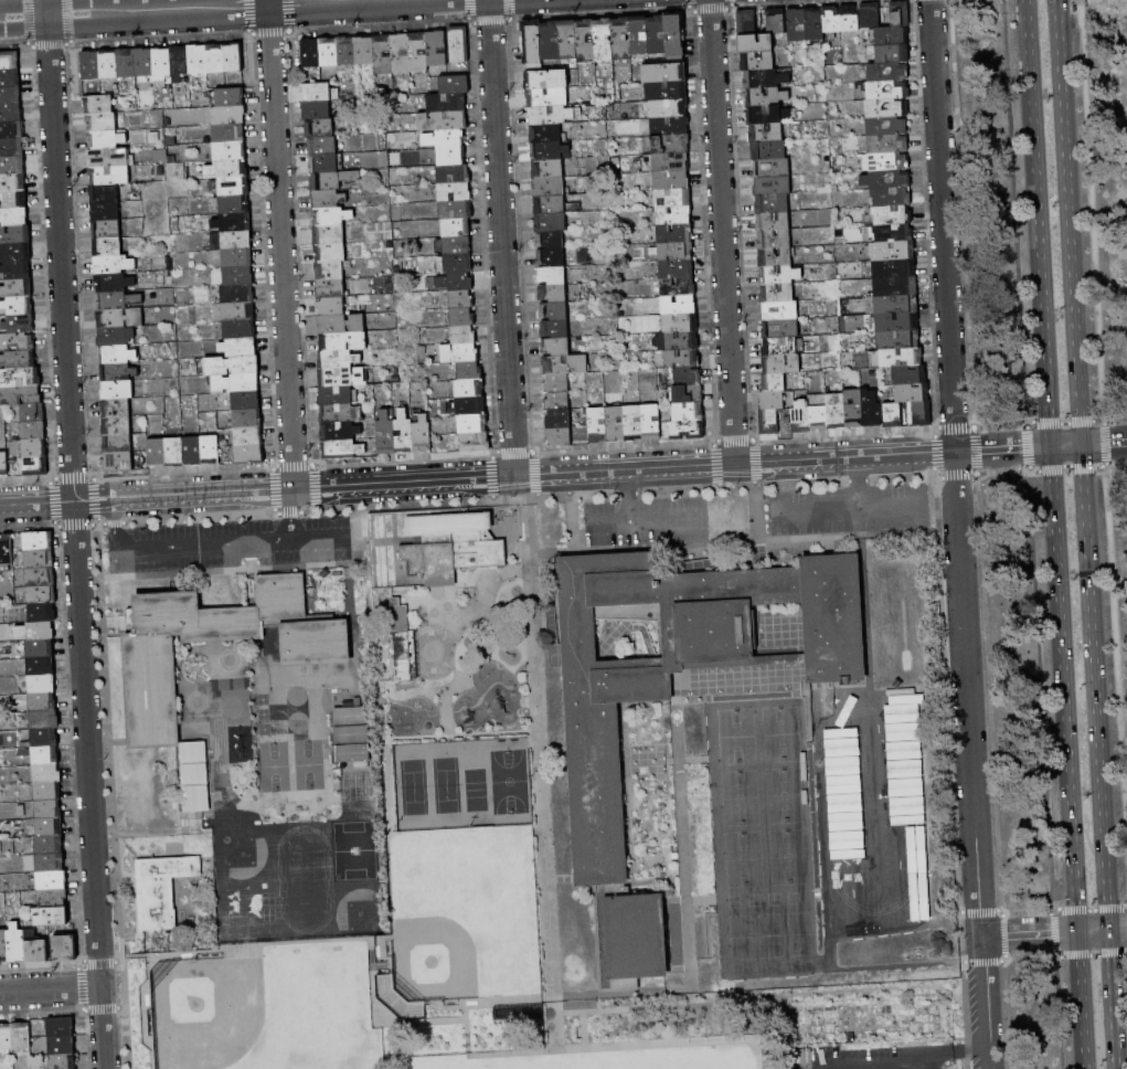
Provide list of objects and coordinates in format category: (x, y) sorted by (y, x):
road: (45, 8)
road: (190, 8)
building: (900, 13)
building: (871, 15)
road: (23, 17)
building: (849, 19)
building: (831, 20)
building: (777, 21)
building: (747, 23)
building: (815, 23)
building: (796, 25)
building: (674, 34)
building: (638, 35)
building: (657, 35)
building: (892, 35)
building: (567, 40)
building: (604, 40)
building: (621, 40)
building: (550, 41)
building: (585, 41)
building: (532, 43)
building: (755, 43)
building: (459, 45)
building: (437, 49)
building: (365, 50)
building: (347, 51)
building: (329, 52)
building: (419, 52)
building: (311, 53)
building: (383, 54)
building: (401, 54)
building: (892, 54)
building: (234, 57)
building: (215, 59)
building: (198, 60)
building: (9, 61)
building: (757, 62)
building: (143, 63)
building: (179, 63)
building: (108, 64)
building: (126, 64)
building: (91, 65)
building: (161, 65)
building: (887, 72)
building: (664, 73)
building: (10, 78)
building: (546, 80)
building: (765, 80)
building: (454, 85)
building: (887, 91)
building: (667, 92)
building: (316, 93)
building: (10, 95)
building: (230, 97)
building: (546, 97)
building: (766, 97)
building: (447, 103)
building: (98, 104)
building: (669, 108)
building: (886, 108)
building: (316, 110)
building: (10, 113)
building: (767, 114)
building: (228, 115)
building: (551, 115)
building: (102, 121)
building: (442, 121)
building: (669, 126)
building: (885, 127)
building: (319, 128)
building: (11, 130)
building: (765, 133)
building: (228, 134)
building: (545, 134)
building: (445, 138)
building: (107, 139)
building: (670, 144)
building: (887, 145)
building: (322, 146)
building: (11, 148)
building: (768, 150)
building: (230, 151)
building: (549, 151)
building: (451, 156)
building: (110, 158)
building: (670, 162)
building: (886, 162)
building: (323, 163)
building: (12, 165)
building: (772, 168)
building: (227, 169)
building: (549, 170)
building: (454, 174)
building: (109, 176)
building: (332, 180)
building: (885, 180)
building: (671, 181)
building: (13, 182)
building: (234, 187)
building: (773, 187)
building: (549, 188)
building: (455, 192)
building: (104, 193)
building: (891, 197)
building: (328, 199)
building: (672, 199)
building: (13, 200)
building: (232, 204)
building: (550, 204)
building: (772, 204)
building: (456, 210)
road: (1091, 210)
building: (105, 212)
road: (1012, 212)
building: (892, 214)
building: (674, 215)
building: (13, 216)
building: (331, 216)
building: (551, 222)
building: (773, 222)
road: (1068, 222)
building: (233, 223)
road: (1036, 223)
building: (456, 229)
building: (106, 230)
road: (722, 232)
building: (674, 233)
building: (893, 233)
building: (14, 235)
building: (329, 235)
road: (501, 237)
building: (550, 240)
building: (774, 240)
building: (231, 241)
road: (279, 244)
building: (454, 246)
building: (107, 247)
building: (893, 251)
building: (676, 252)
building: (15, 253)
building: (330, 253)
road: (60, 257)
building: (551, 257)
building: (775, 257)
building: (237, 258)
building: (114, 264)
building: (455, 264)
building: (893, 268)
building: (676, 269)
building: (17, 271)
building: (332, 271)
building: (779, 275)
building: (238, 276)
building: (552, 276)
building: (453, 282)
building: (114, 283)
building: (895, 286)
building: (678, 287)
building: (18, 289)
building: (331, 289)
building: (777, 293)
building: (237, 294)
building: (553, 294)
building: (461, 299)
building: (117, 300)
building: (679, 305)
building: (896, 305)
building: (19, 306)
building: (331, 307)
building: (779, 310)
building: (554, 311)
building: (238, 313)
building: (463, 317)
building: (120, 318)
building: (680, 322)
building: (896, 322)
building: (341, 324)
building: (19, 325)
building: (555, 329)
building: (780, 329)
building: (240, 330)
building: (464, 335)
building: (116, 337)
building: (897, 339)
building: (17, 341)
building: (342, 341)
building: (680, 341)
building: (556, 347)
building: (779, 347)
building: (238, 348)
building: (460, 352)
building: (117, 354)
building: (902, 358)
building: (682, 359)
building: (19, 360)
building: (338, 360)
building: (565, 364)
building: (780, 364)
building: (232, 366)
building: (470, 370)
building: (118, 372)
building: (910, 375)
building: (685, 377)
building: (21, 378)
building: (342, 378)
building: (235, 383)
building: (555, 383)
building: (773, 383)
building: (469, 388)
building: (117, 390)
building: (912, 392)
building: (688, 394)
building: (21, 395)
building: (336, 396)
building: (246, 401)
building: (556, 401)
building: (772, 401)
building: (471, 406)
building: (116, 408)
building: (853, 409)
building: (871, 409)
building: (688, 412)
building: (836, 412)
building: (33, 413)
building: (922, 413)
building: (341, 414)
building: (893, 415)
building: (801, 417)
building: (247, 419)
building: (557, 419)
building: (819, 419)
building: (632, 423)
building: (651, 423)
building: (768, 423)
building: (472, 424)
building: (615, 424)
building: (597, 425)
building: (117, 426)
building: (688, 430)
building: (34, 431)
building: (339, 432)
building: (404, 433)
building: (386, 435)
building: (422, 435)
building: (248, 437)
building: (559, 437)
building: (475, 442)
building: (117, 444)
road: (1104, 444)
traffic signals: (1082, 445)
road: (1065, 446)
traffic signals: (1050, 447)
building: (34, 448)
building: (341, 449)
building: (192, 451)
building: (210, 451)
building: (174, 452)
building: (157, 453)
building: (249, 455)
building: (118, 462)
building: (3, 464)
building: (35, 467)
road: (1105, 467)
road: (561, 474)
road: (860, 481)
road: (629, 493)
road: (36, 502)
park: (1042, 502)
road: (848, 505)
road: (293, 506)
parking lot: (848, 508)
road: (115, 515)
road: (647, 515)
parking lot: (646, 520)
road: (960, 534)
building: (38, 541)
road: (321, 541)
parking lot: (230, 544)
building: (453, 546)
road: (204, 548)
building: (7, 550)
building: (40, 560)
building: (40, 578)
building: (41, 594)
building: (42, 613)
building: (41, 632)
building: (312, 642)
building: (403, 644)
building: (40, 649)
road: (1116, 656)
building: (672, 663)
building: (41, 666)
building: (42, 684)
road: (1095, 687)
road: (1062, 689)
road: (1039, 690)
building: (146, 696)
building: (42, 702)
building: (347, 717)
building: (44, 720)
building: (348, 735)
building: (44, 738)
building: (348, 754)
building: (45, 756)
road: (538, 762)
building: (46, 774)
building: (195, 777)
road: (384, 780)
park: (507, 781)
park: (445, 784)
road: (89, 785)
park: (411, 785)
park: (474, 788)
building: (47, 792)
building: (49, 809)
building: (50, 827)
building: (49, 845)
building: (50, 864)
park: (445, 865)
building: (52, 881)
building: (159, 890)
building: (52, 899)
building: (51, 917)
road: (1117, 929)
traffic signals: (1108, 930)
road: (1092, 931)
road: (1051, 932)
traffic signals: (1076, 932)
road: (1029, 934)
building: (632, 935)
building: (15, 943)
road: (113, 944)
building: (3, 946)
building: (35, 948)
building: (65, 949)
road: (258, 949)
park: (434, 957)
road: (50, 988)
road: (874, 991)
building: (395, 998)
road: (1112, 998)
road: (485, 1001)
road: (1080, 1001)
road: (657, 1002)
park: (201, 1007)
road: (142, 1010)
road: (1056, 1013)
road: (390, 1018)
building: (61, 1026)
road: (584, 1027)
road: (464, 1028)
building: (21, 1036)
building: (6, 1039)
road: (659, 1042)
building: (62, 1045)
road: (554, 1049)
road: (506, 1052)
road: (755, 1054)
building: (63, 1061)
road: (903, 1062)
park: (689, 1063)
park: (592, 1067)

